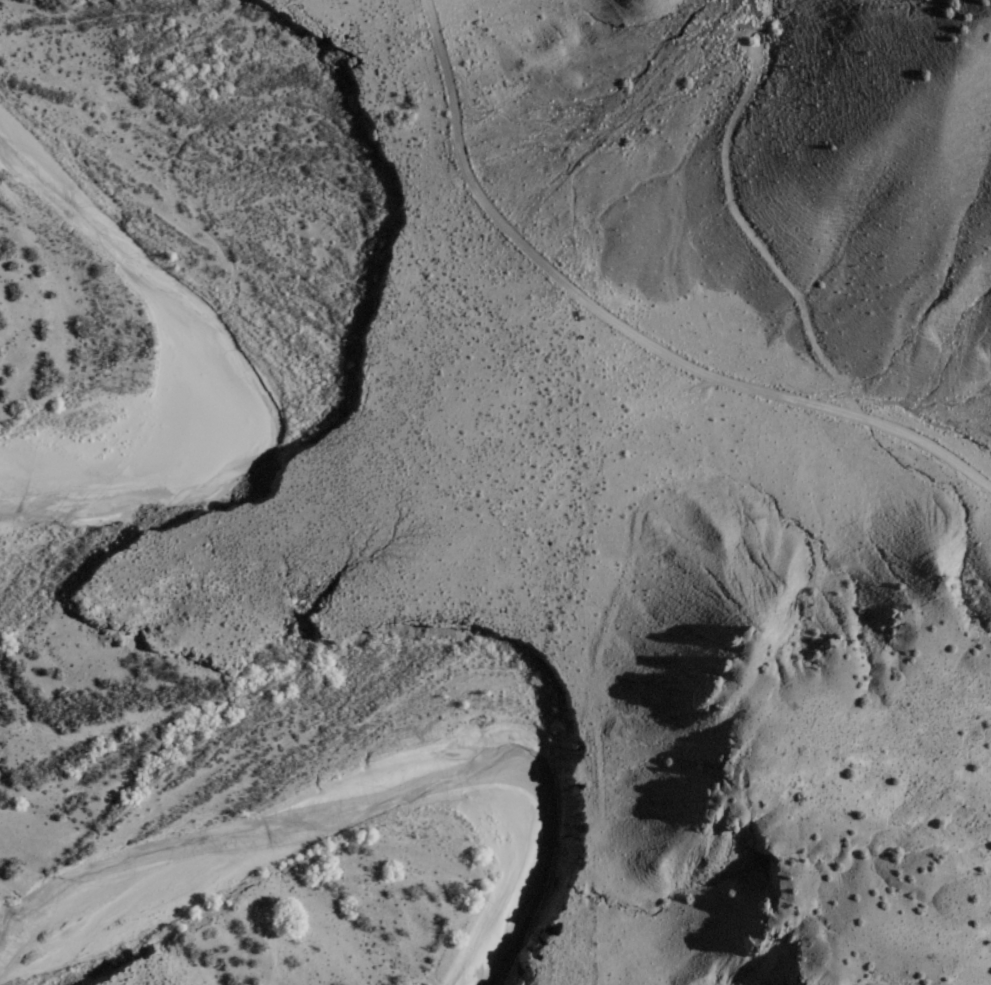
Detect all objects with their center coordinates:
road: (624, 327)
river: (307, 349)
river: (361, 777)

